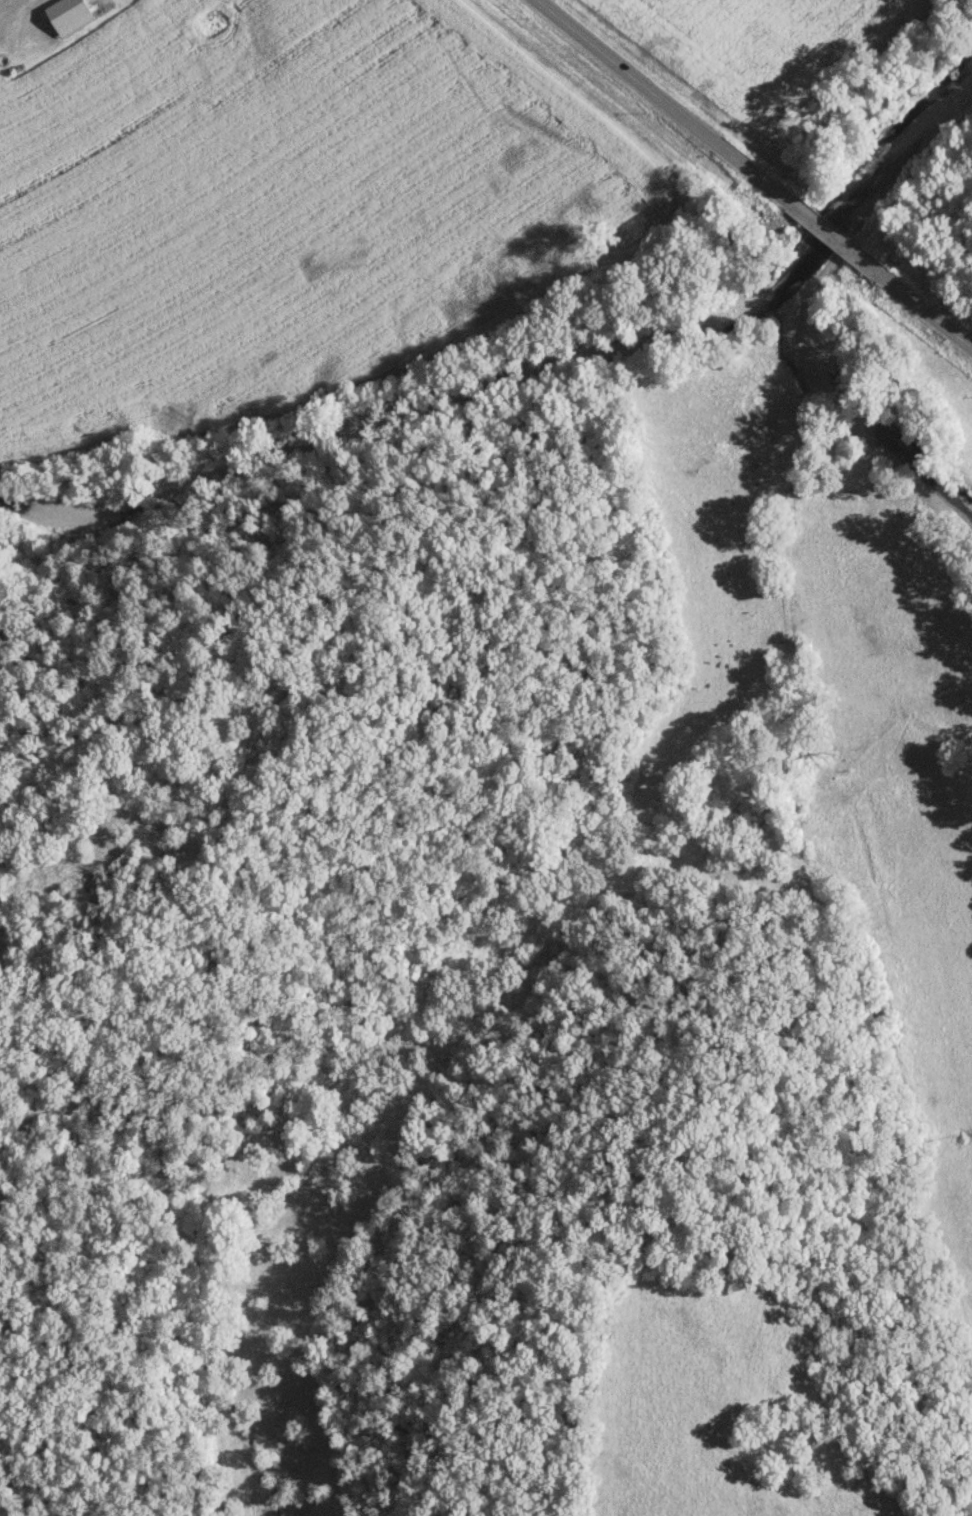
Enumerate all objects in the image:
road: (649, 90)
road: (823, 229)
road: (928, 312)

